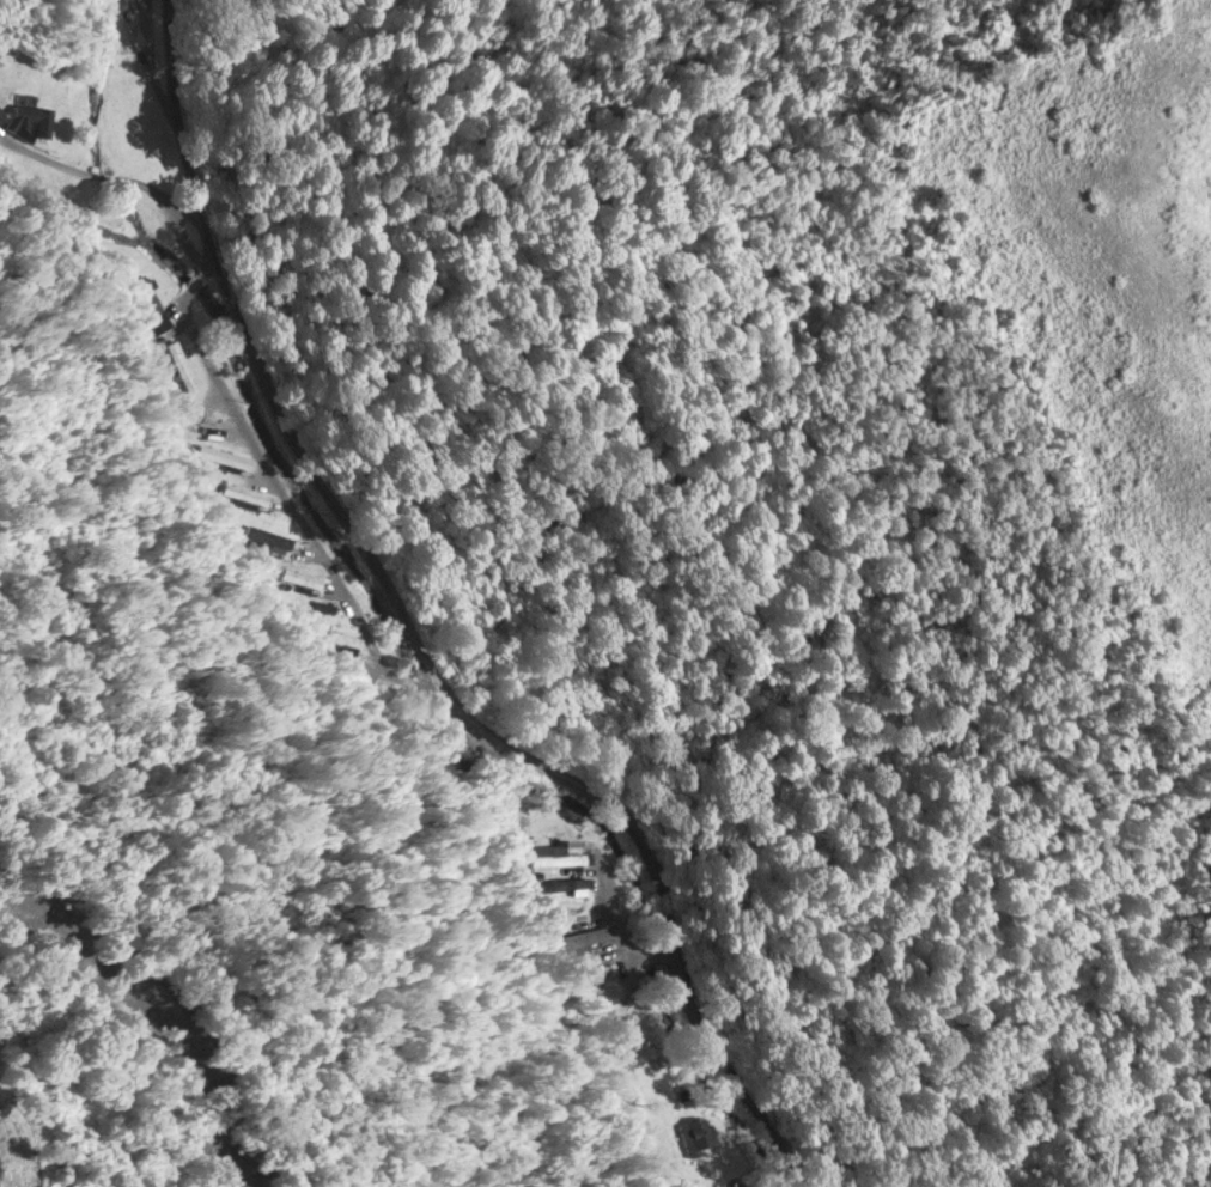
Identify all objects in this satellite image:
building: (135, 19)
building: (1, 110)
building: (28, 120)
road: (99, 171)
building: (152, 303)
building: (183, 365)
building: (213, 420)
building: (226, 456)
building: (245, 493)
road: (287, 495)
building: (303, 577)
building: (342, 637)
road: (415, 638)
building: (556, 857)
building: (573, 882)
building: (584, 939)
building: (629, 1042)
building: (696, 1132)
building: (725, 1186)

